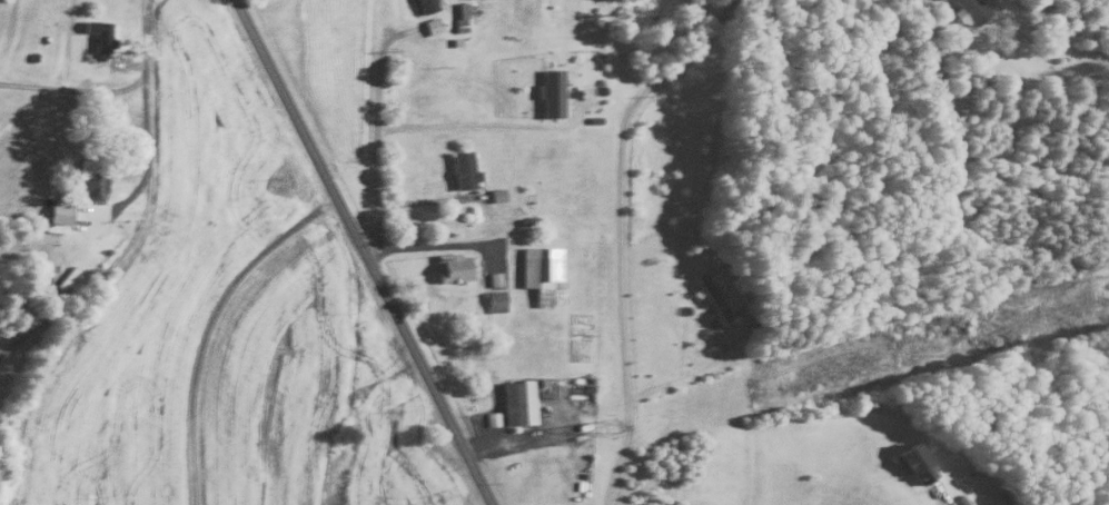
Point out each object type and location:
building: (424, 6)
building: (471, 7)
building: (968, 10)
building: (459, 16)
road: (710, 20)
building: (430, 26)
building: (98, 34)
road: (72, 88)
building: (549, 91)
road: (484, 126)
road: (376, 139)
building: (462, 168)
building: (88, 181)
building: (495, 194)
road: (427, 199)
road: (143, 208)
building: (57, 211)
road: (622, 239)
road: (434, 245)
road: (359, 253)
building: (454, 266)
building: (539, 271)
building: (493, 277)
building: (494, 299)
road: (208, 327)
road: (690, 374)
building: (516, 400)
power tower: (604, 425)
road: (512, 436)
building: (910, 461)
road: (940, 496)

